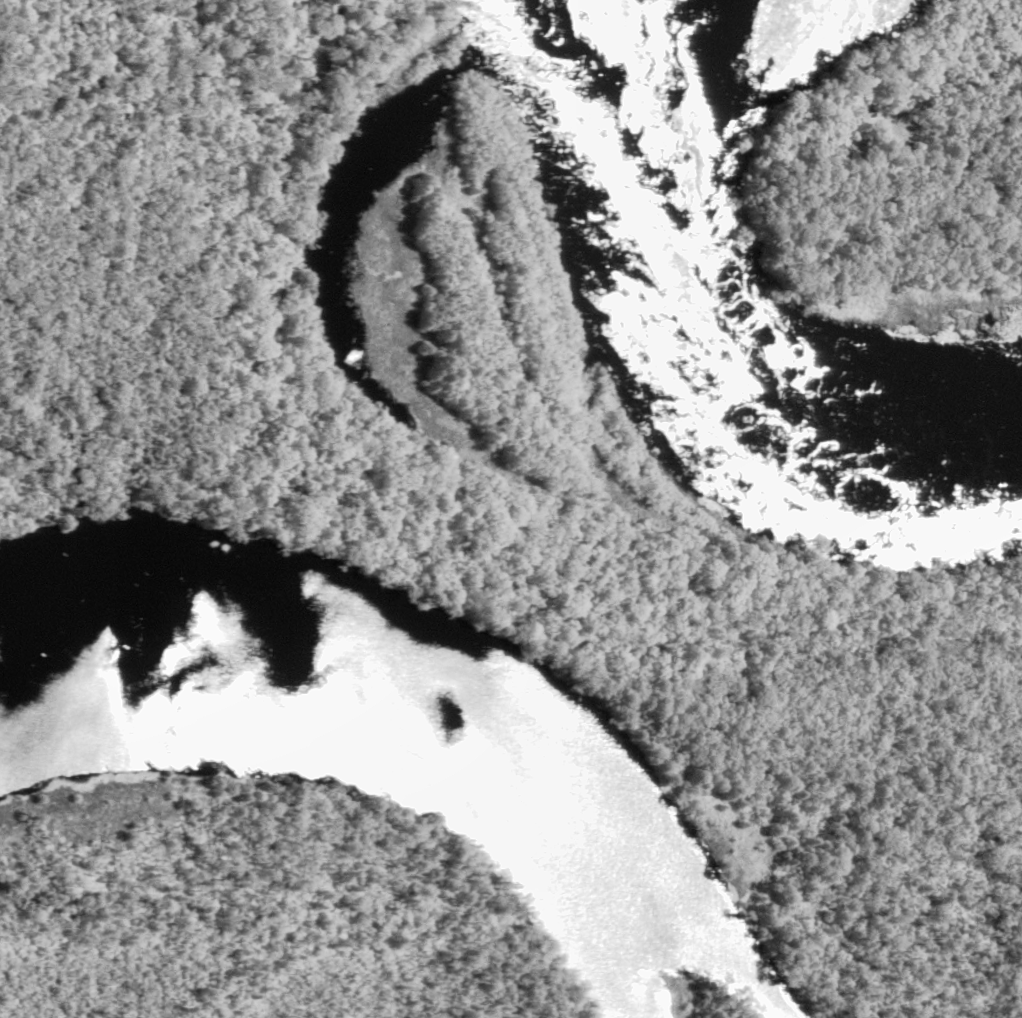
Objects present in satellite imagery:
river: (697, 331)

